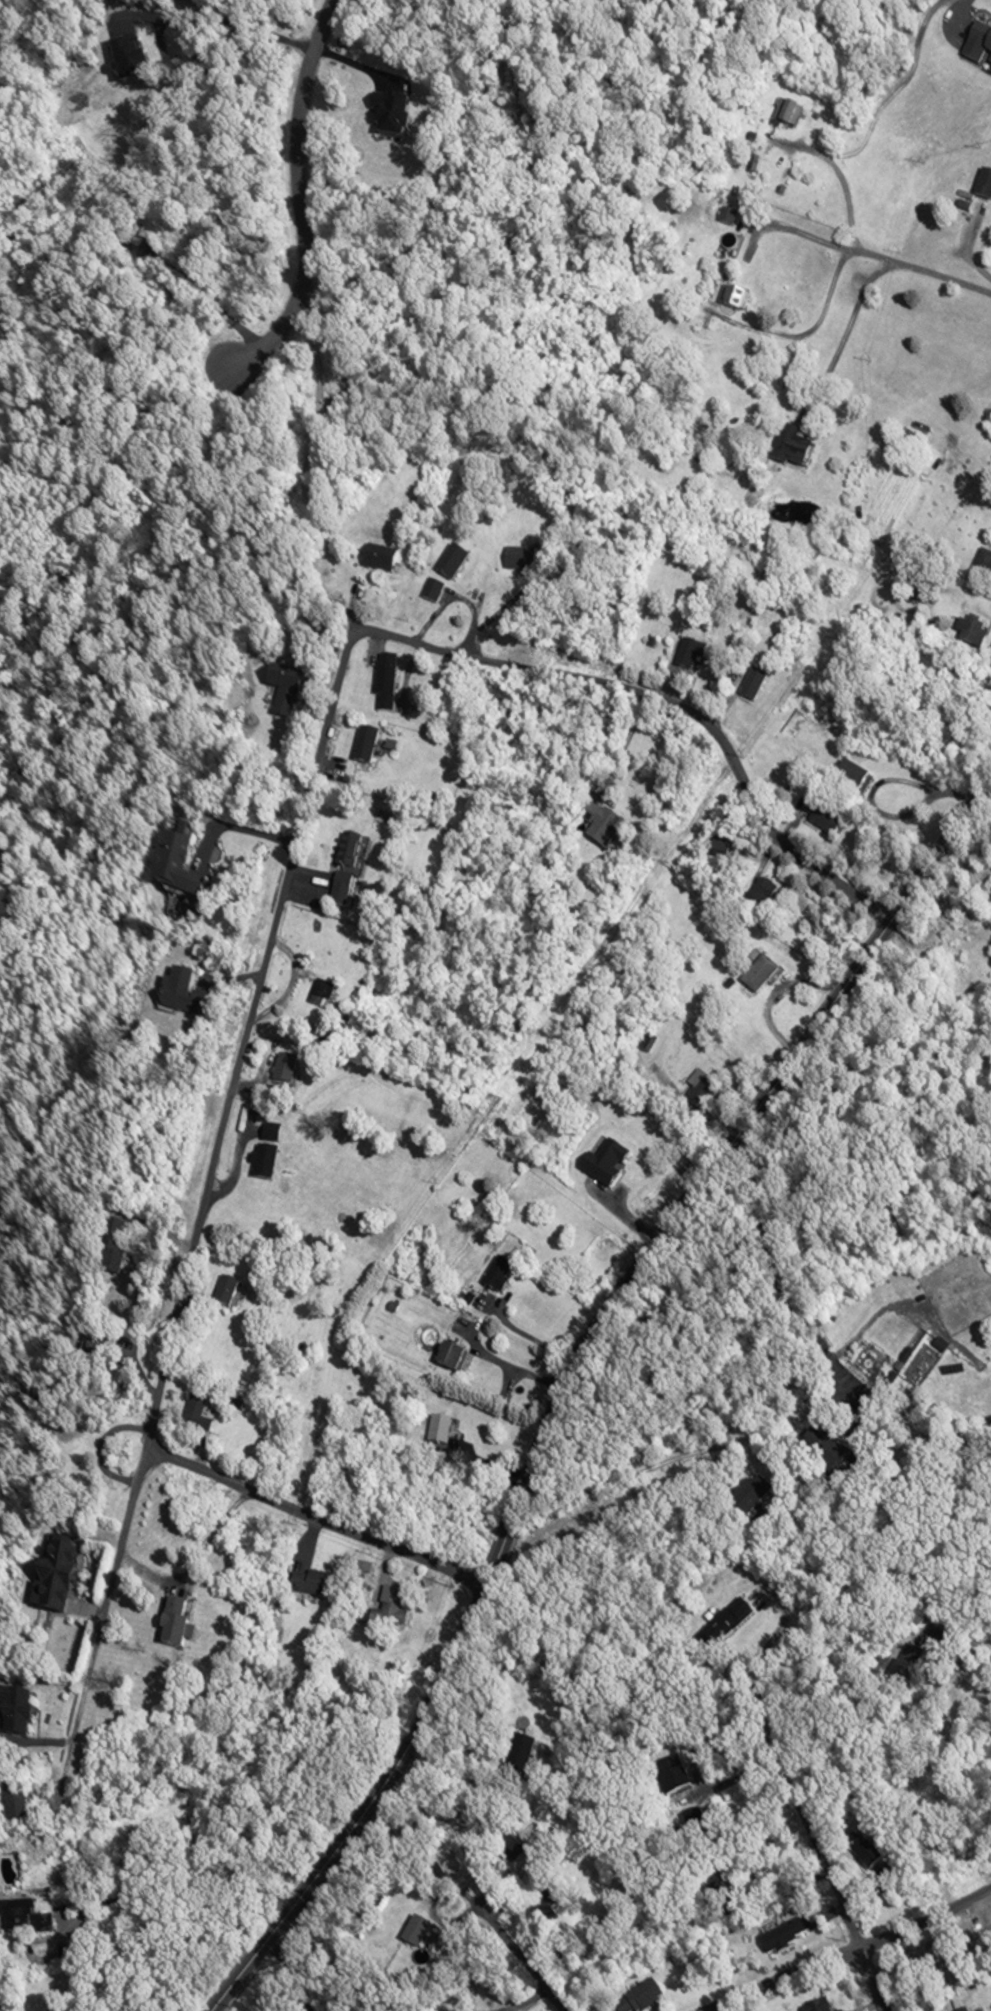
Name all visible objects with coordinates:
building: (979, 42)
building: (784, 115)
road: (842, 180)
building: (982, 186)
road: (300, 207)
road: (875, 255)
building: (730, 299)
road: (748, 325)
road: (843, 332)
building: (789, 448)
building: (377, 561)
building: (517, 562)
building: (449, 565)
building: (981, 566)
building: (430, 592)
building: (970, 635)
building: (685, 658)
building: (750, 688)
building: (383, 690)
building: (281, 699)
road: (667, 705)
building: (363, 748)
building: (850, 780)
road: (716, 820)
building: (821, 821)
building: (597, 825)
road: (238, 829)
building: (719, 852)
building: (174, 866)
building: (341, 874)
building: (760, 898)
building: (757, 976)
building: (180, 998)
building: (641, 1043)
building: (281, 1072)
building: (700, 1090)
building: (268, 1135)
building: (603, 1164)
building: (260, 1166)
road: (199, 1210)
building: (112, 1252)
road: (774, 1270)
building: (495, 1277)
building: (222, 1294)
road: (529, 1336)
building: (91, 1358)
building: (448, 1361)
road: (511, 1368)
road: (570, 1382)
building: (196, 1419)
building: (437, 1432)
building: (827, 1460)
road: (624, 1479)
building: (746, 1495)
road: (318, 1512)
building: (52, 1580)
building: (309, 1588)
building: (383, 1612)
building: (728, 1621)
building: (170, 1624)
building: (902, 1666)
building: (13, 1716)
building: (517, 1747)
building: (670, 1776)
building: (10, 1807)
road: (433, 1828)
building: (528, 1836)
building: (862, 1854)
road: (188, 1876)
road: (824, 1890)
building: (13, 1913)
building: (536, 1913)
road: (843, 1943)
road: (534, 1965)
road: (288, 1972)
building: (637, 1998)
building: (816, 2008)

